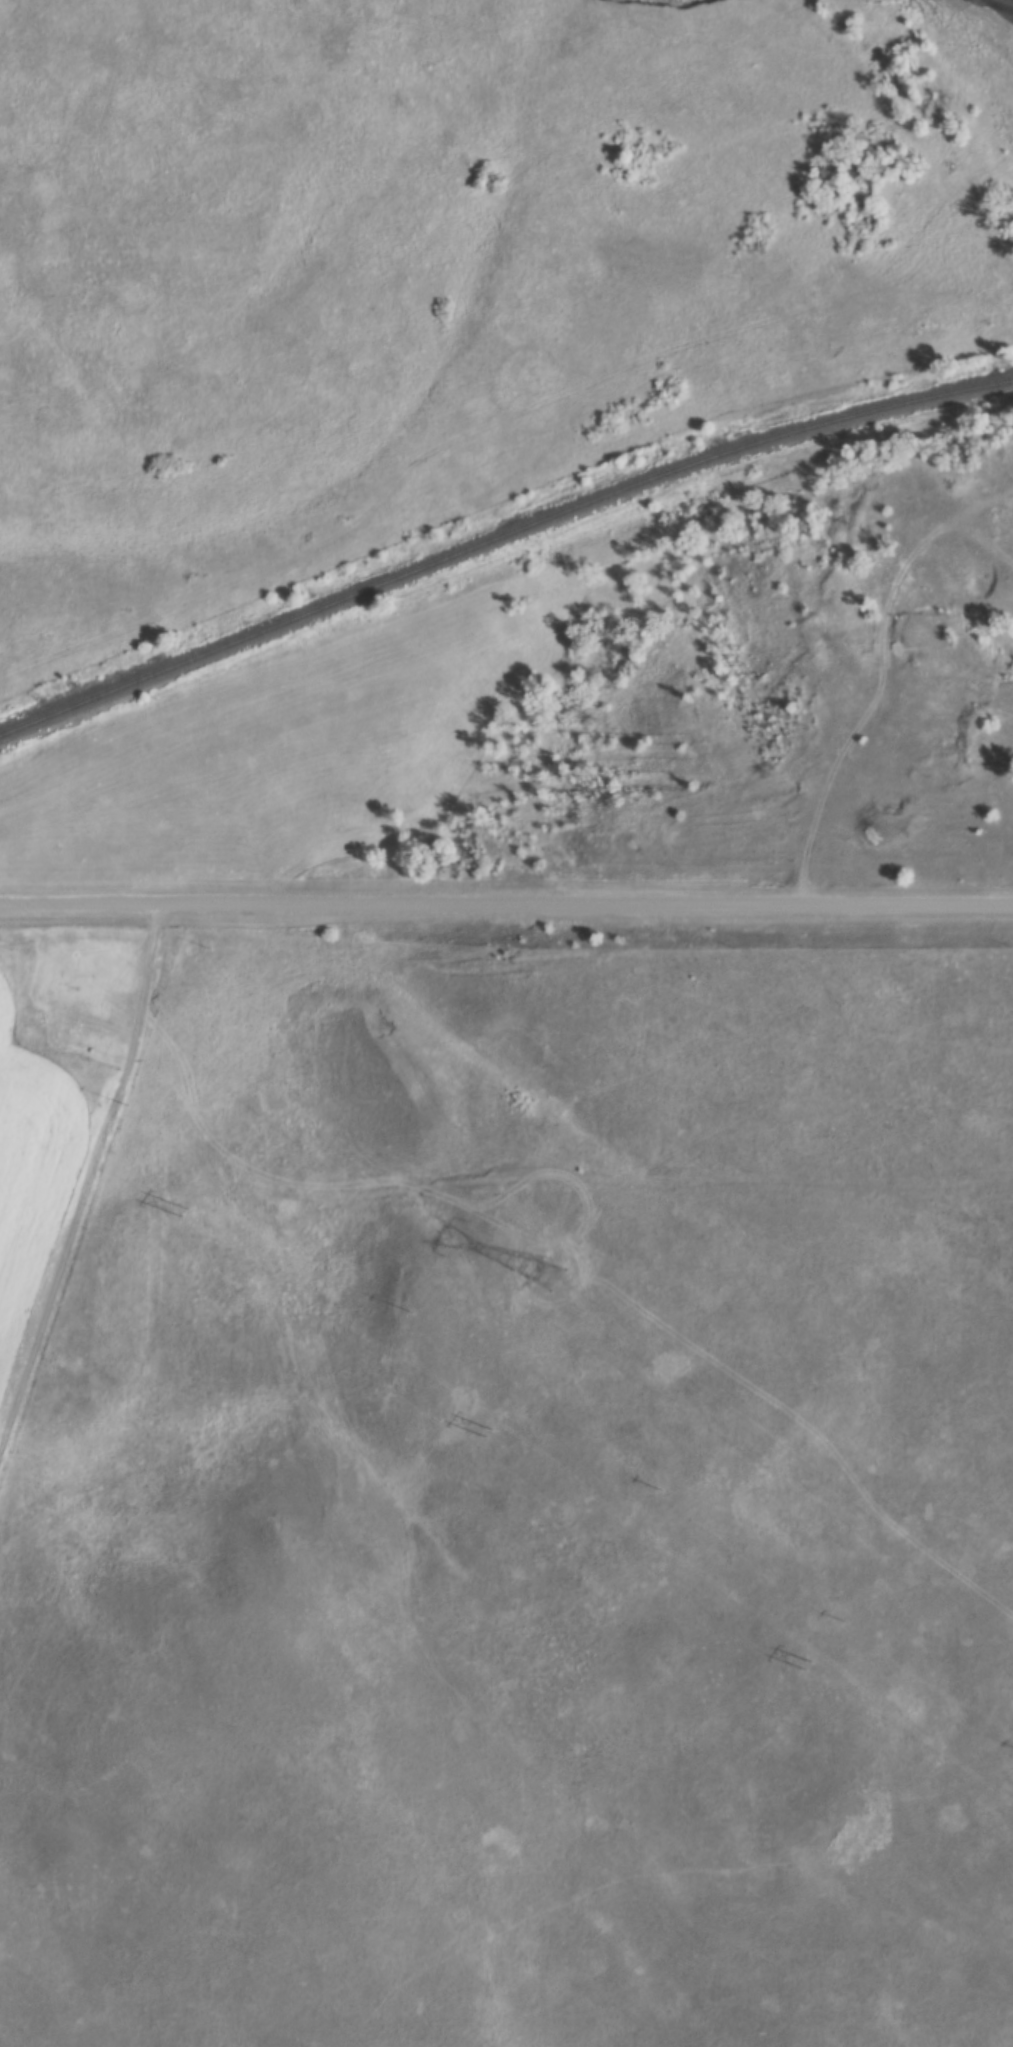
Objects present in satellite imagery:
railway: (500, 542)
road: (506, 903)
road: (88, 1179)
power tower: (553, 1278)

